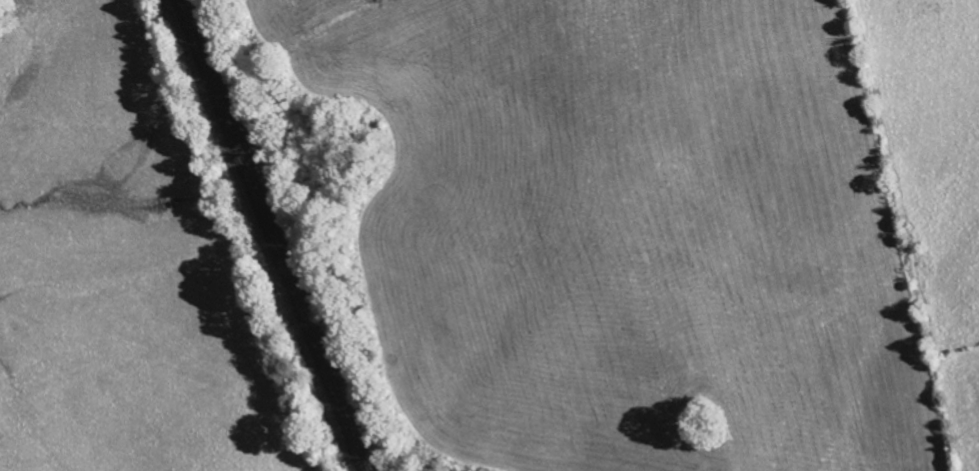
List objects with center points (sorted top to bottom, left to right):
railway: (266, 235)
railway: (276, 235)
road: (38, 422)

